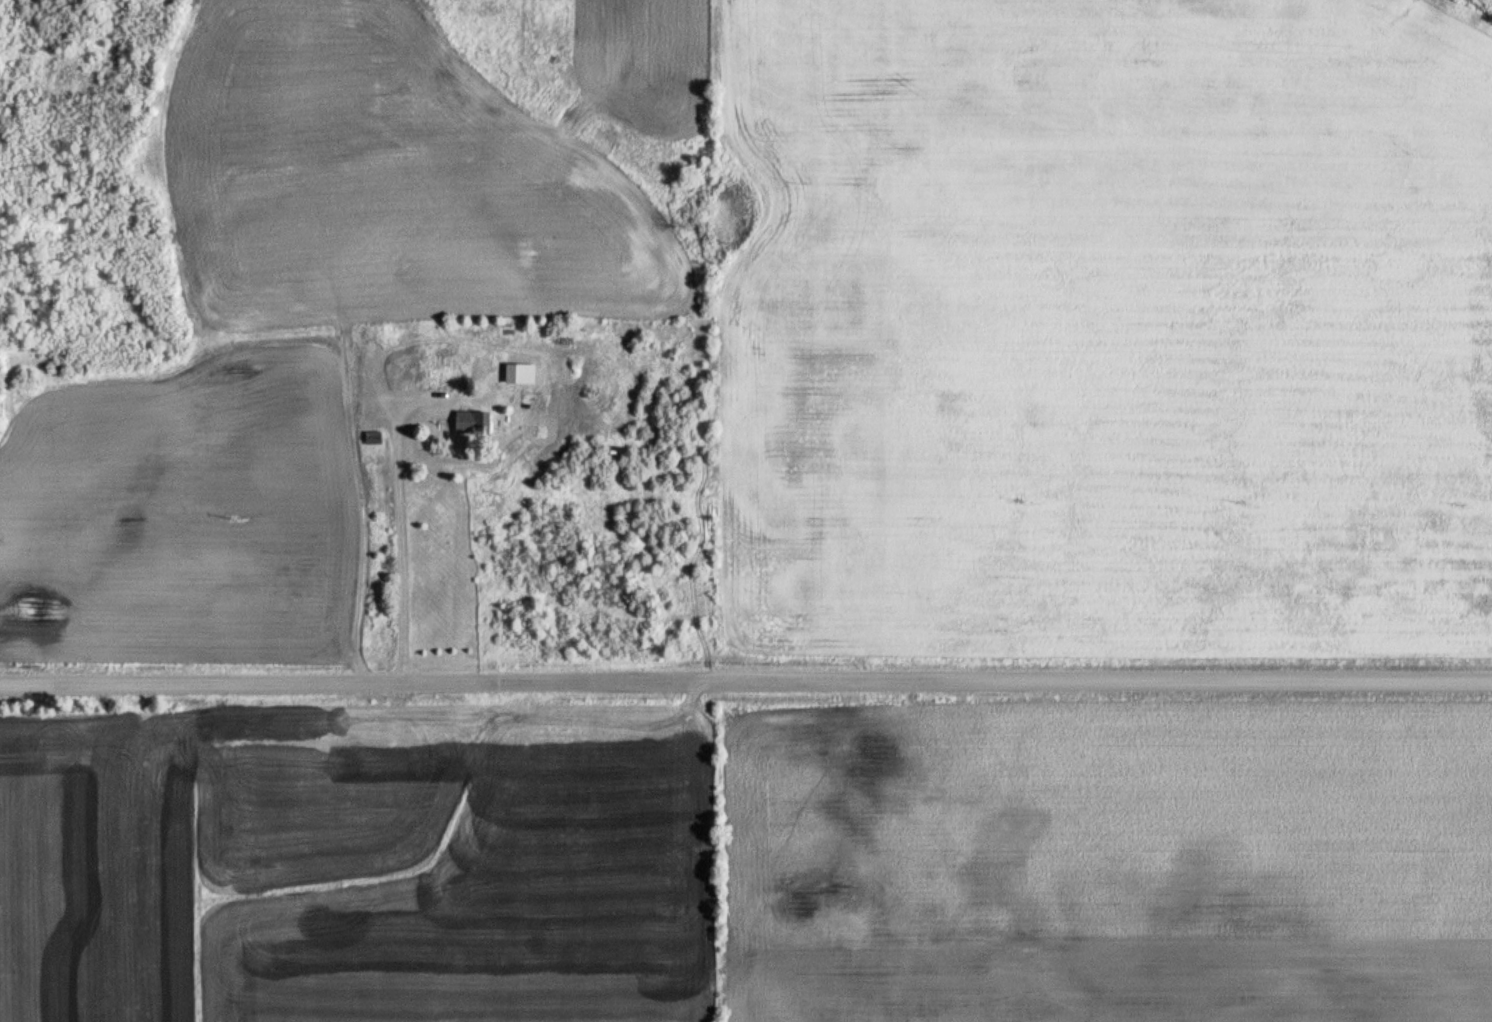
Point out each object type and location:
building: (444, 354)
building: (442, 377)
building: (471, 421)
building: (372, 436)
road: (401, 514)
road: (746, 682)

